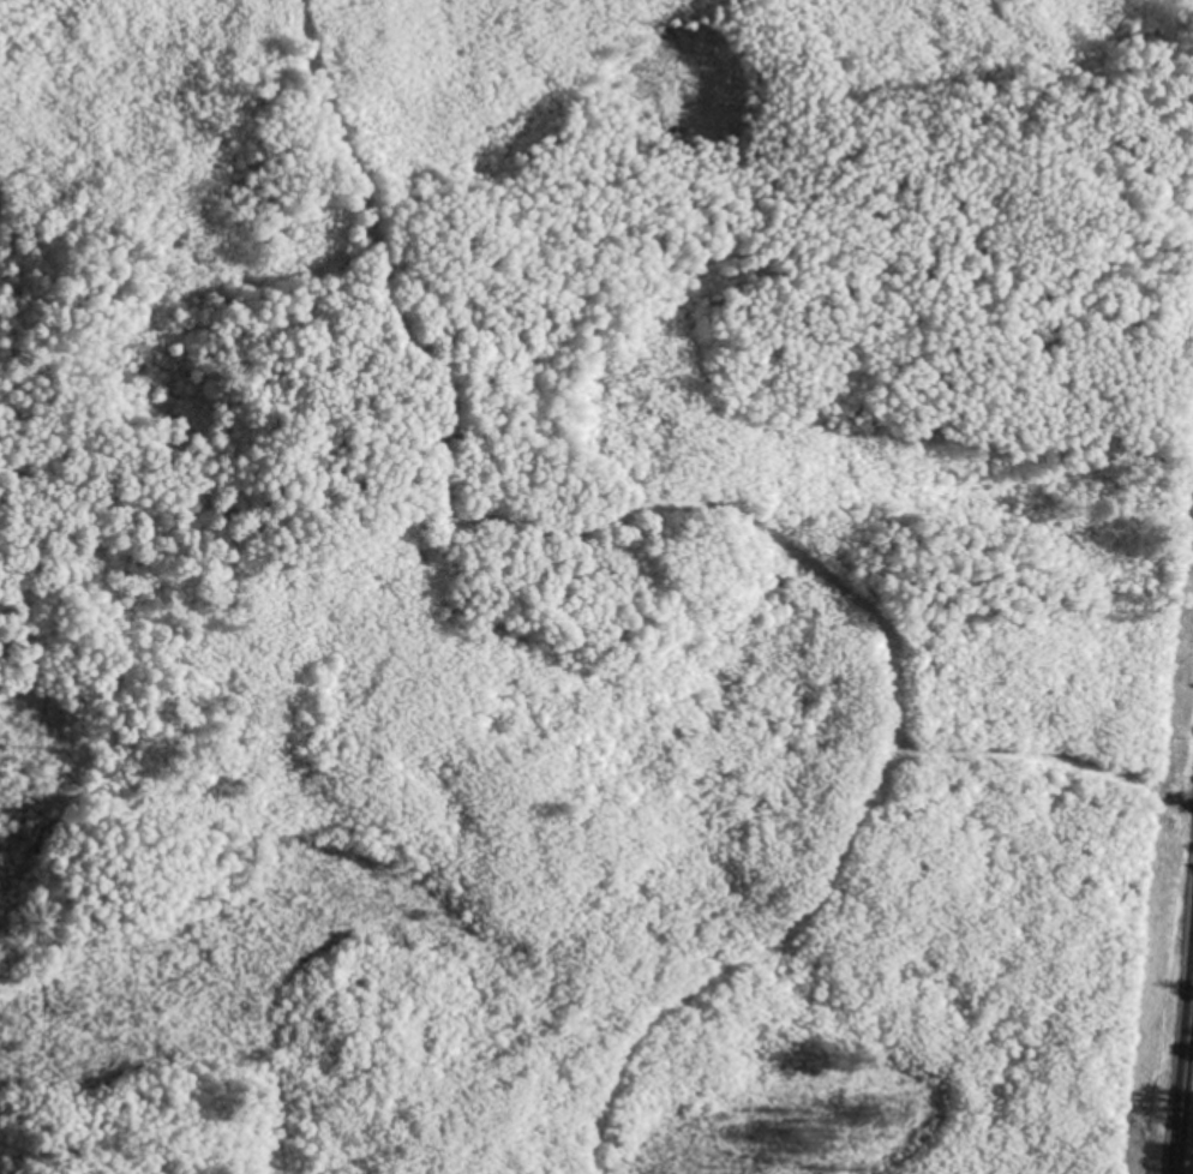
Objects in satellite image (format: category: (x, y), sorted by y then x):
road: (1183, 1078)

